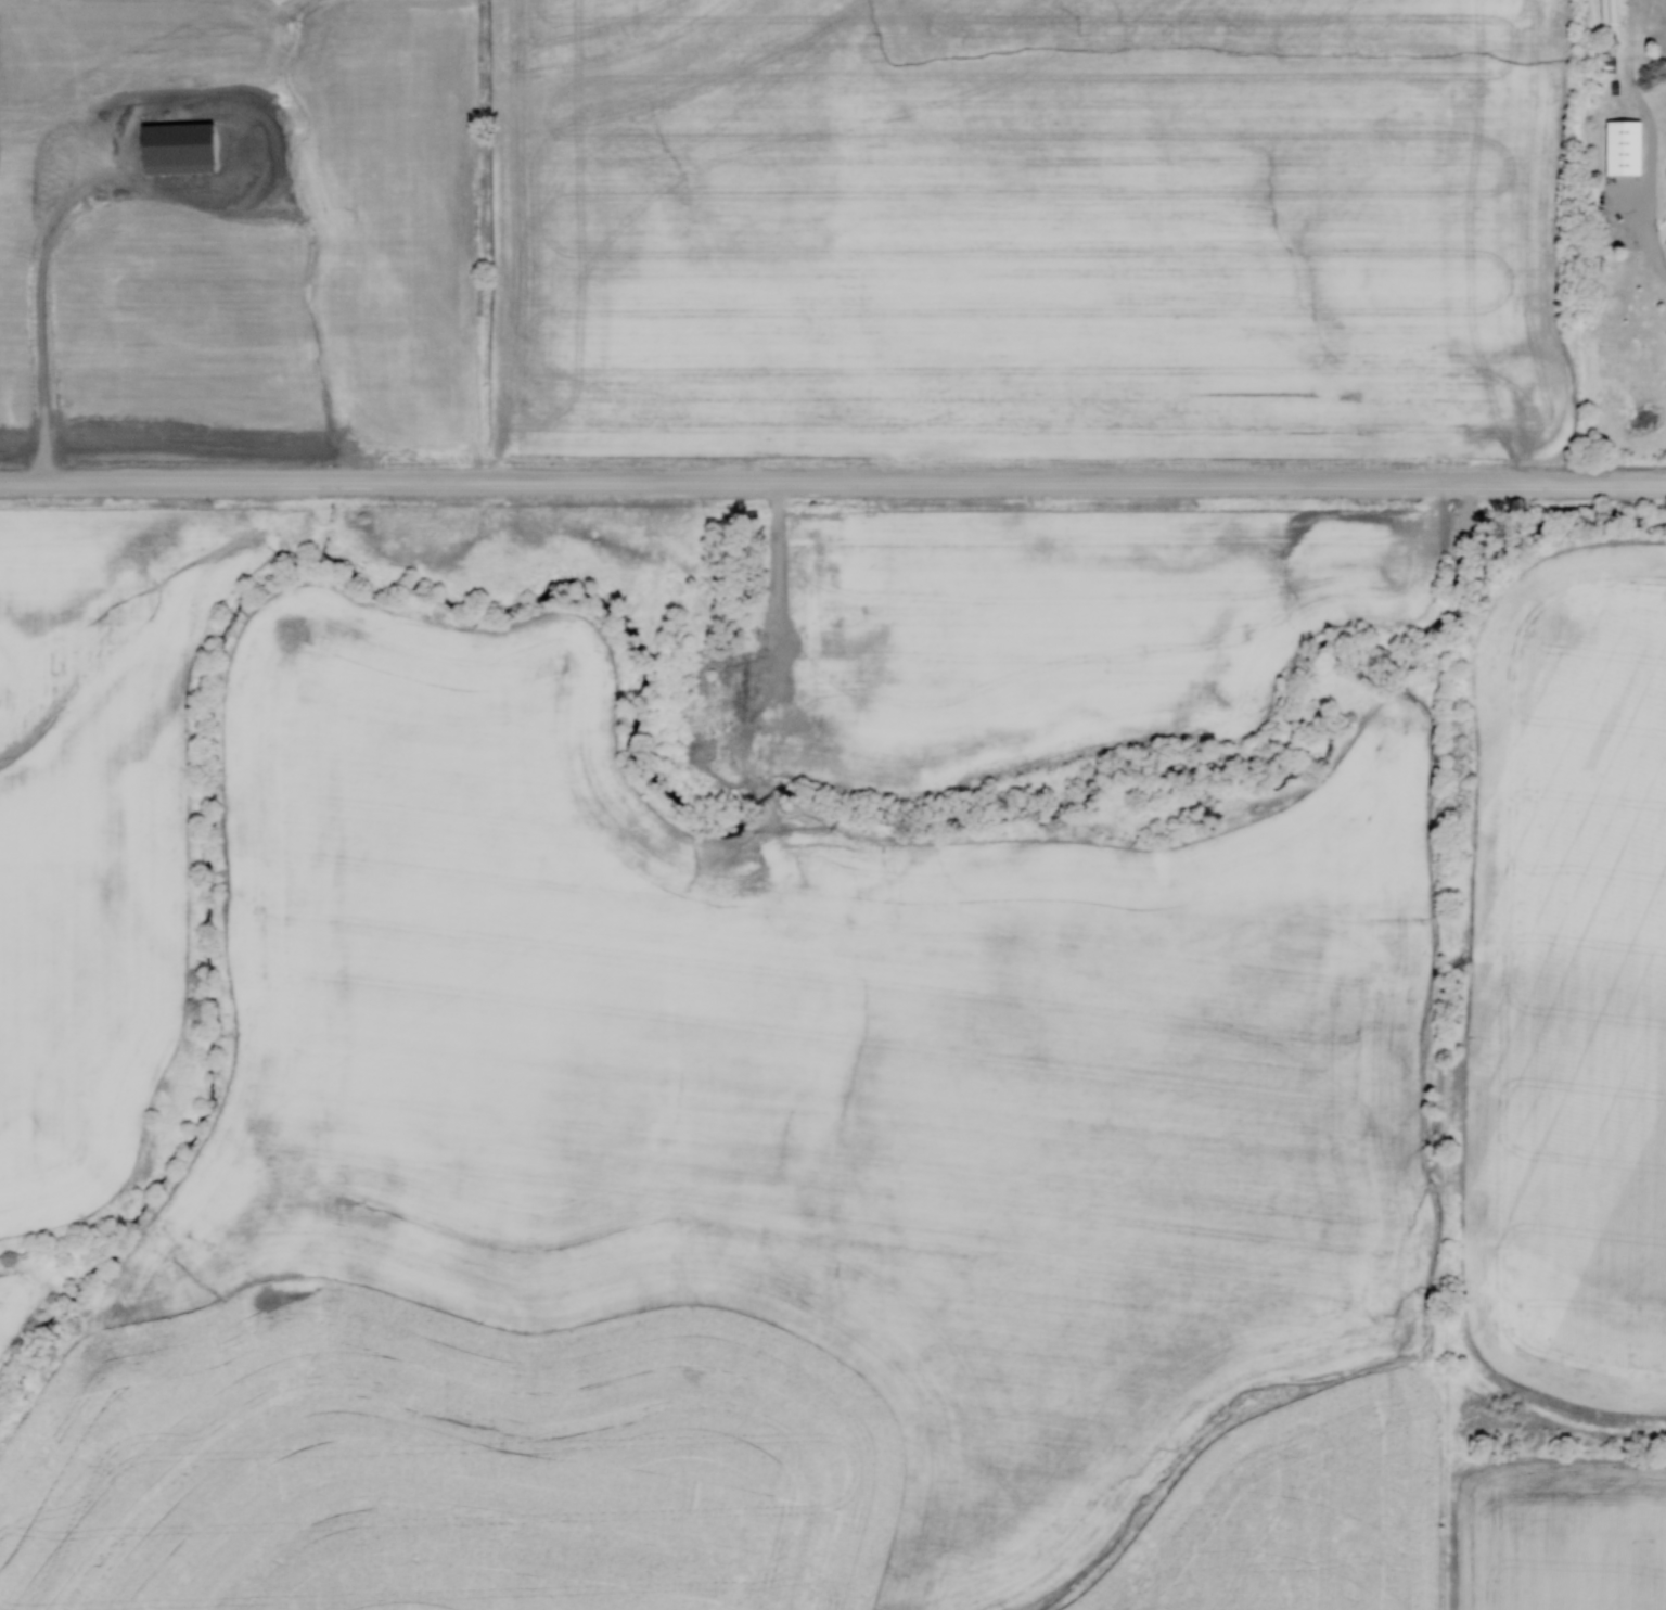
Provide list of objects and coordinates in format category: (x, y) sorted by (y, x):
building: (1624, 146)
road: (833, 482)

